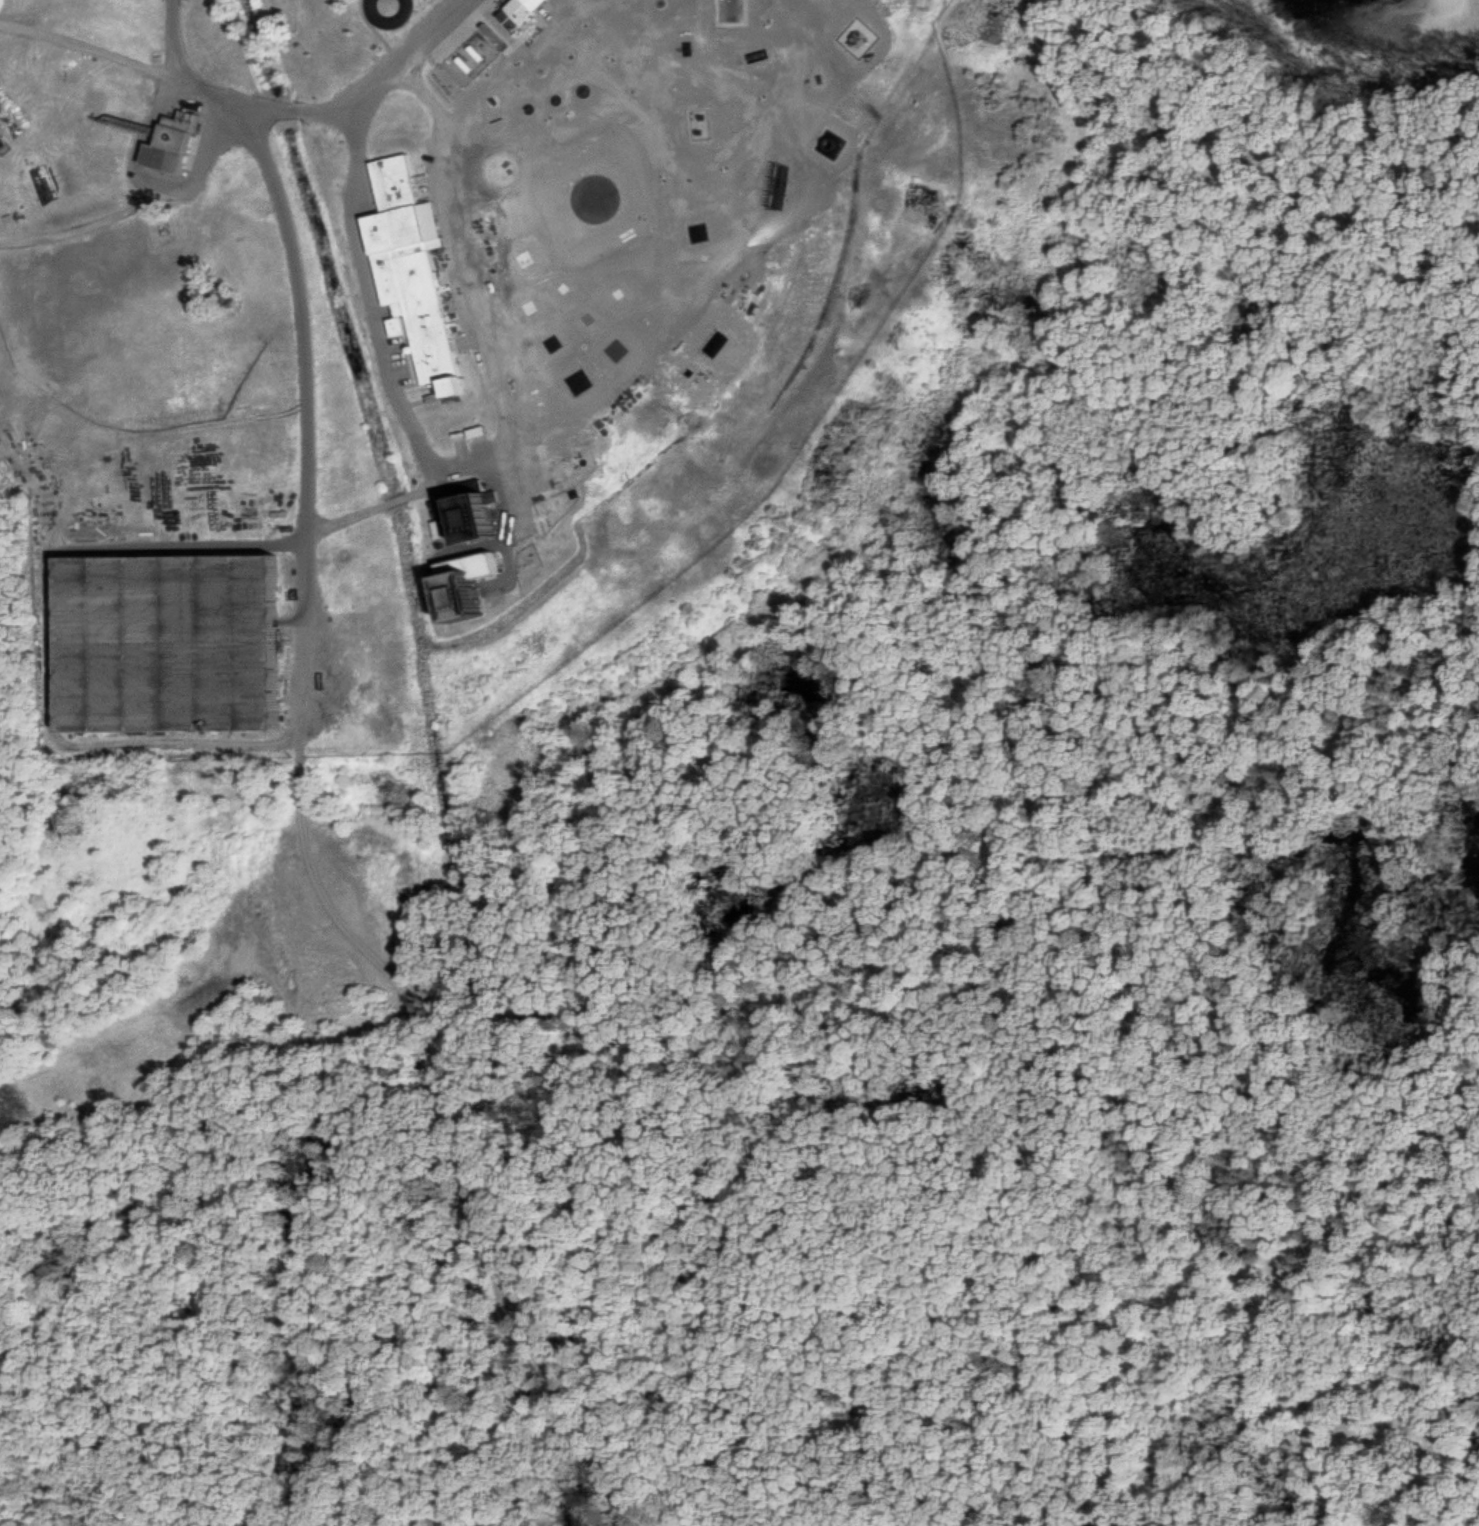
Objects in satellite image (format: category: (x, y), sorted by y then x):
building: (521, 10)
road: (382, 19)
road: (90, 46)
road: (305, 109)
building: (700, 125)
building: (174, 139)
road: (152, 185)
road: (85, 226)
building: (415, 270)
road: (377, 316)
road: (301, 402)
road: (372, 500)
building: (481, 513)
building: (176, 637)
road: (445, 1109)

